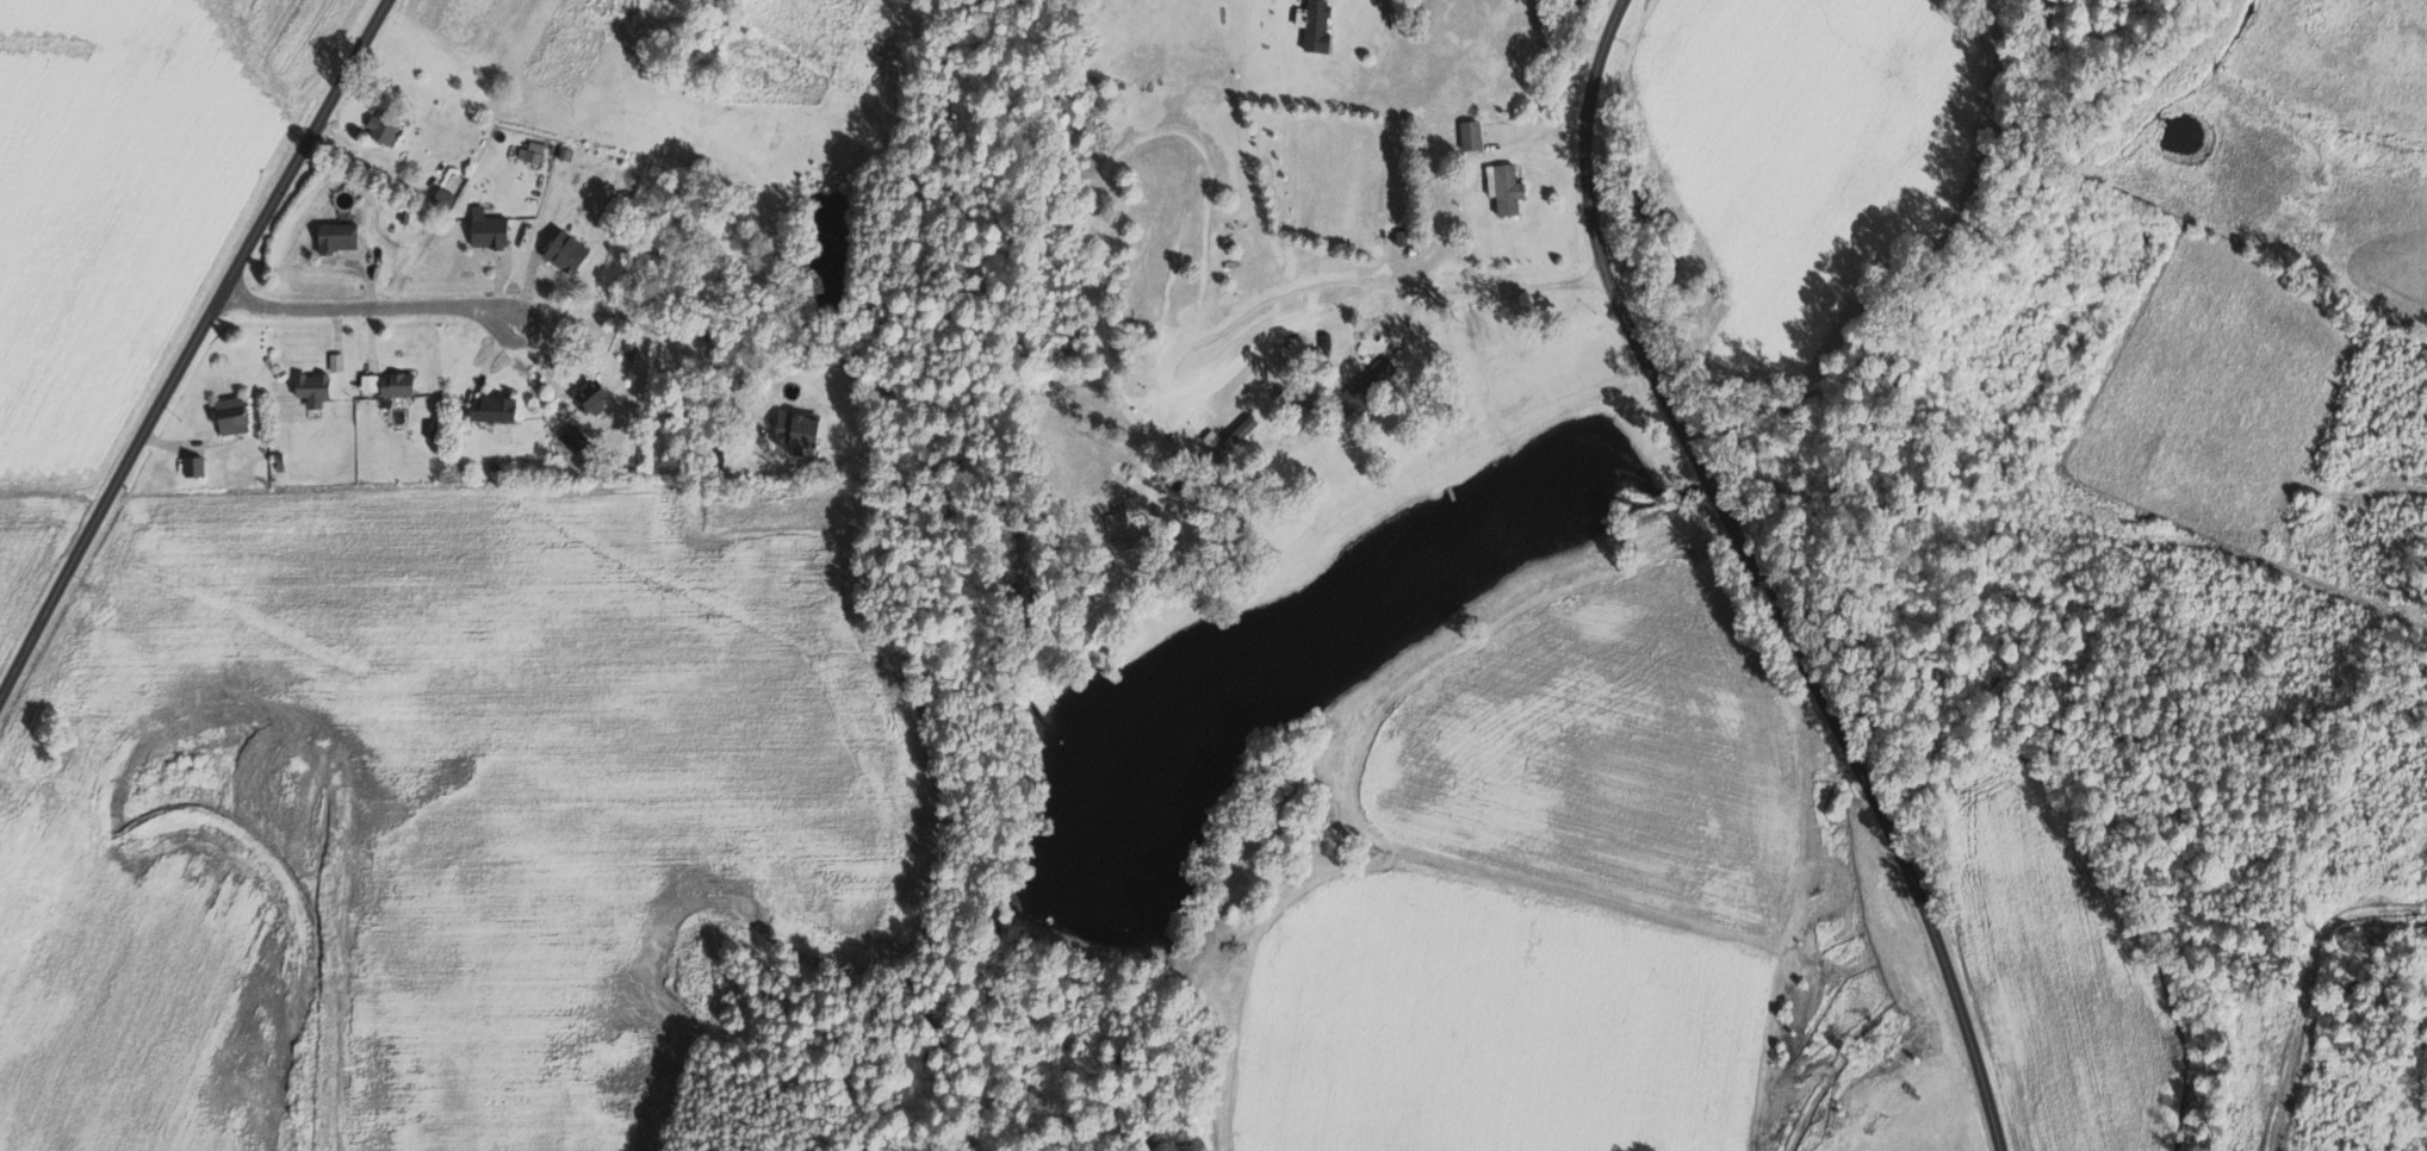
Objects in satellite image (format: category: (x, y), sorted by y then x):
building: (1321, 25)
building: (387, 127)
building: (1475, 135)
building: (535, 153)
building: (1510, 188)
building: (447, 199)
building: (494, 230)
building: (342, 237)
building: (572, 254)
road: (1383, 284)
road: (359, 304)
road: (641, 316)
road: (191, 349)
building: (632, 350)
building: (340, 362)
building: (1380, 373)
building: (402, 385)
building: (317, 392)
building: (497, 410)
building: (236, 416)
building: (805, 431)
building: (1231, 441)
building: (198, 467)
road: (1757, 578)

